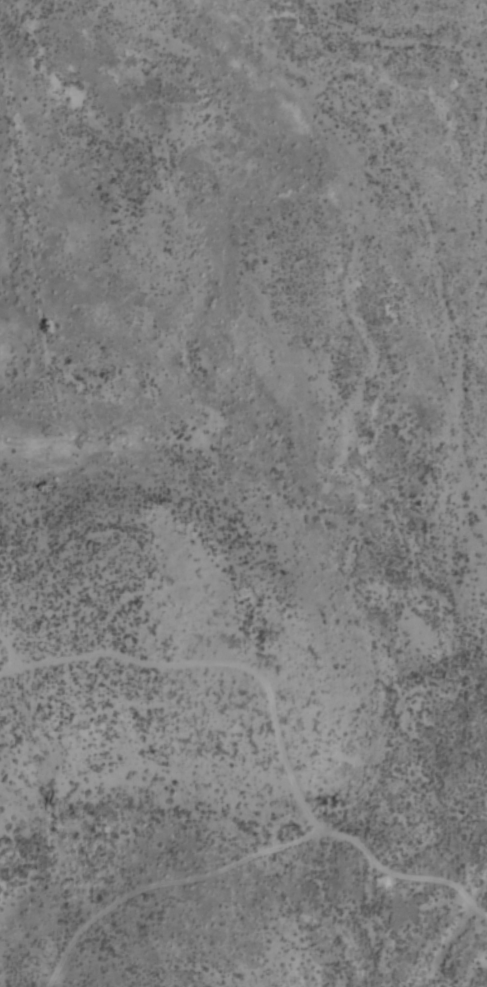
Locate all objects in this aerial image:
road: (7, 655)
road: (277, 713)
road: (171, 881)

